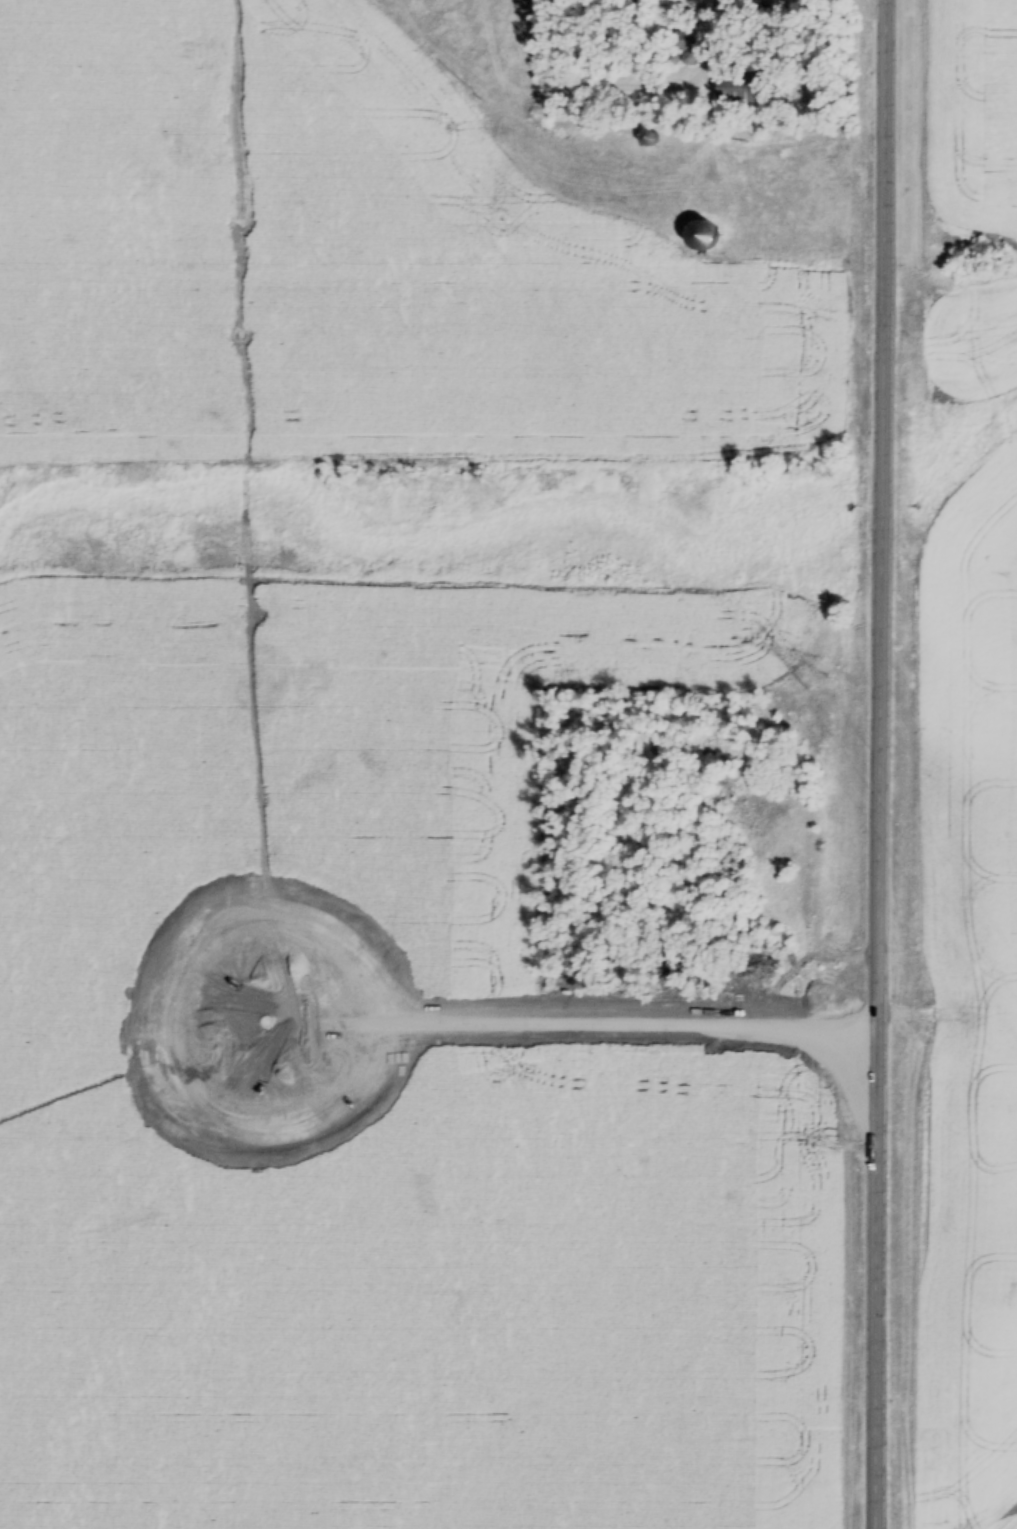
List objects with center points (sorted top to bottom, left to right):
building: (681, 40)
building: (738, 89)
building: (701, 236)
power tower: (801, 674)
road: (921, 764)
wind turbine: (268, 1021)

